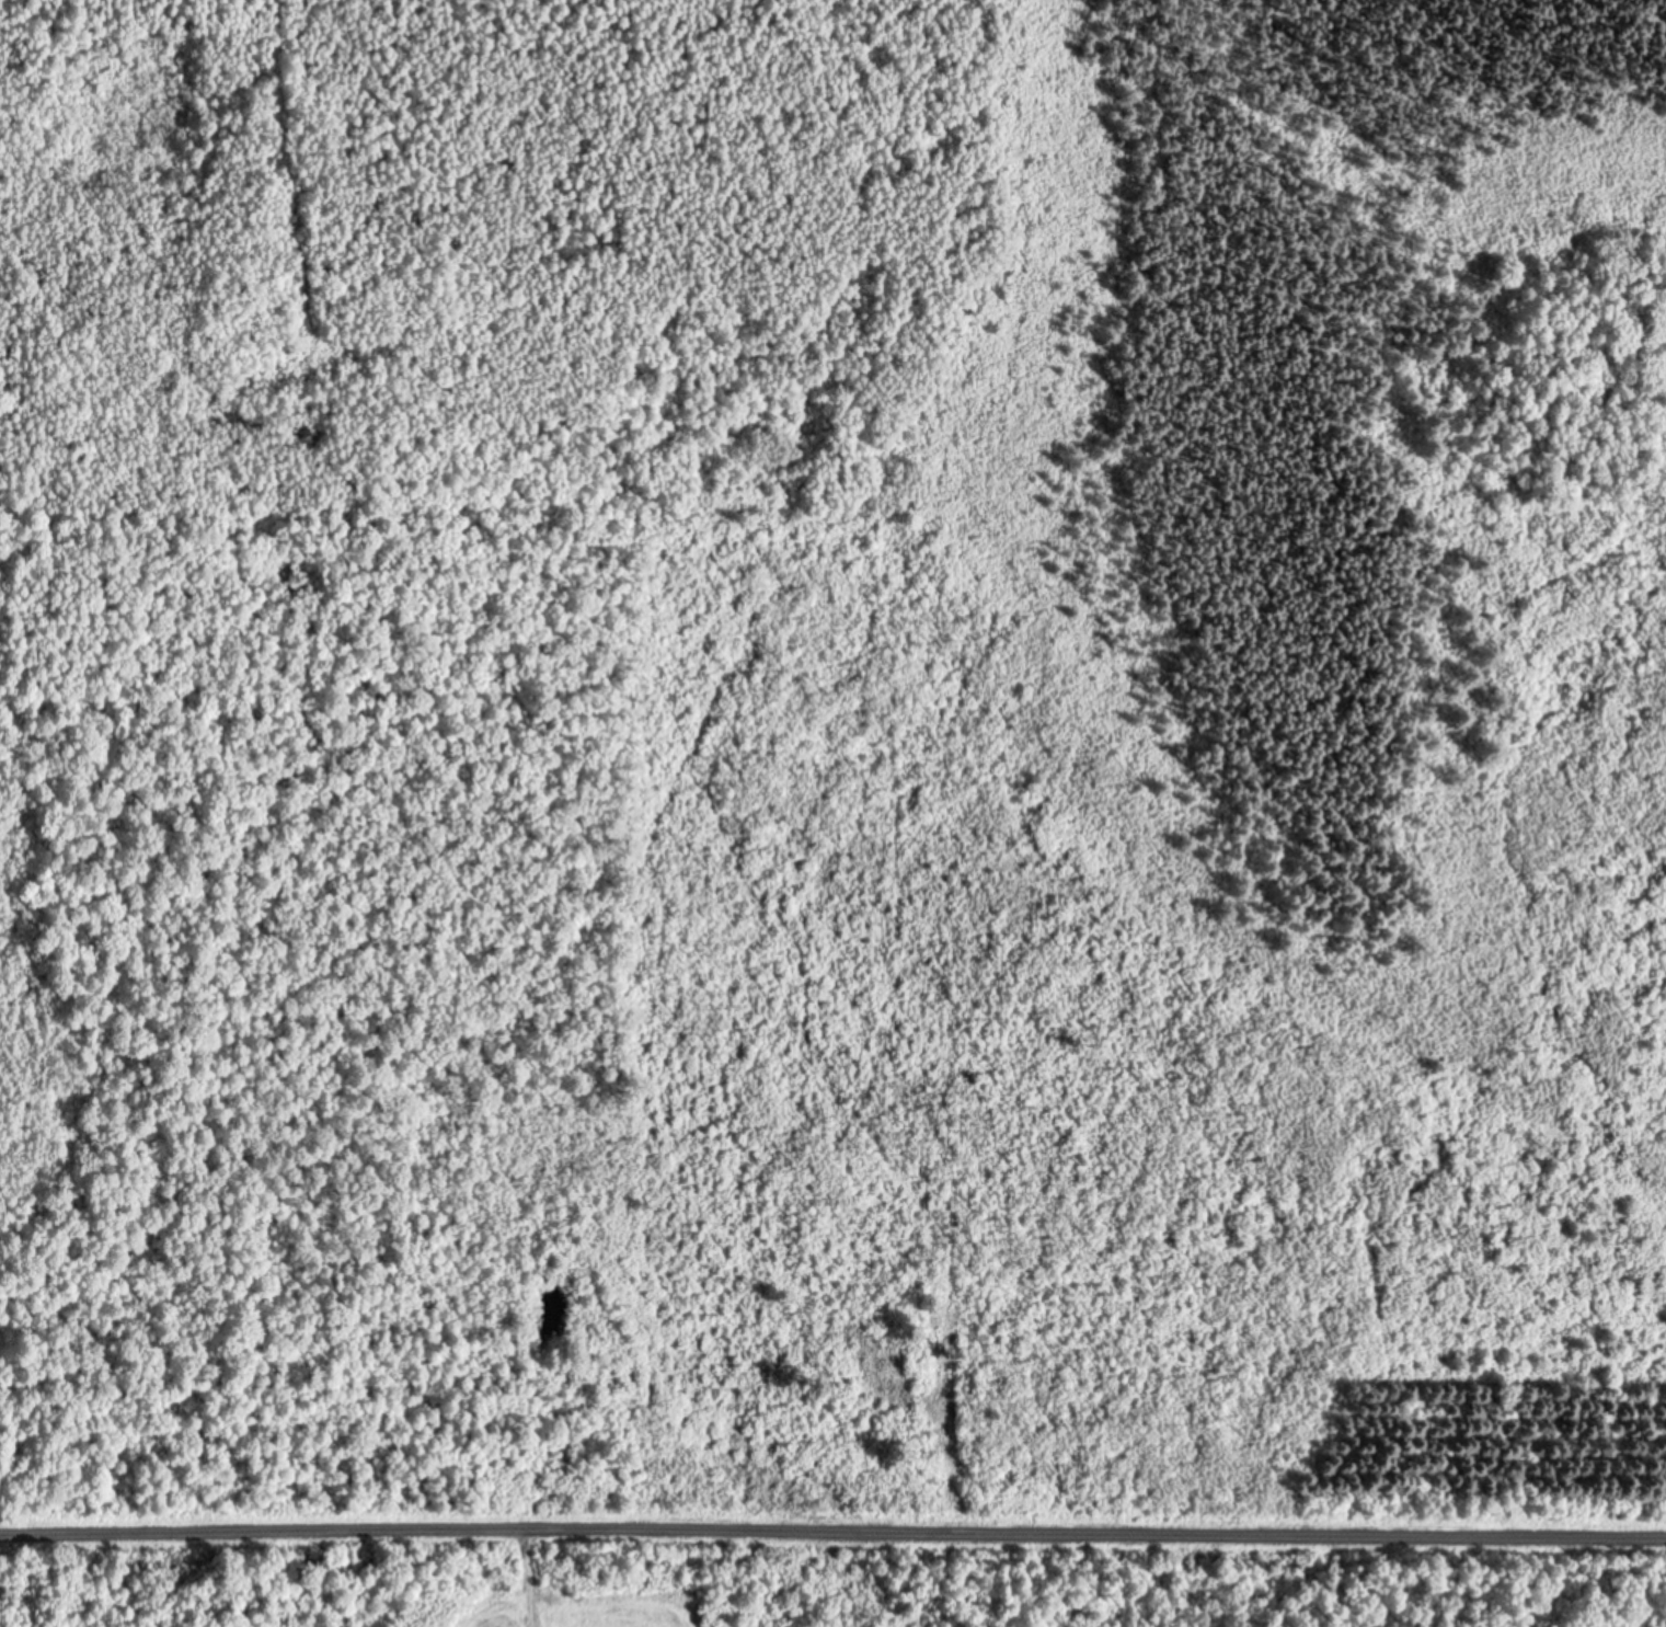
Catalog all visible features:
road: (832, 1521)

